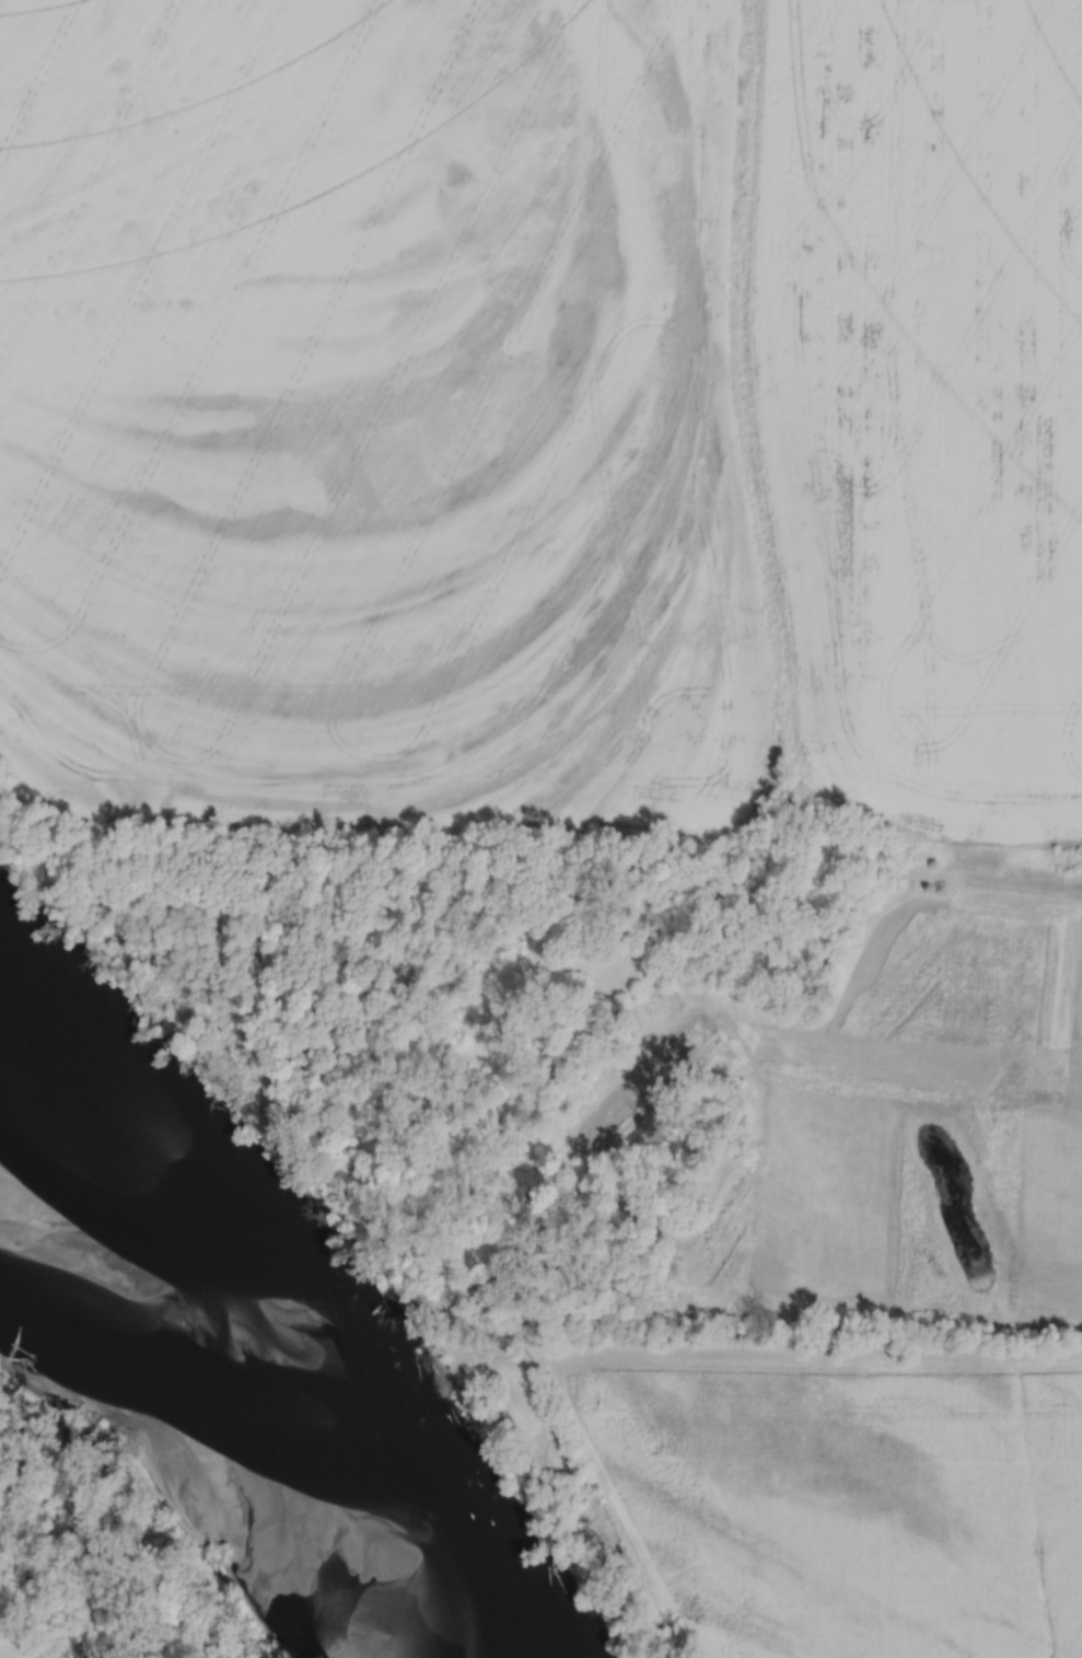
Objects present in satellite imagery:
river: (236, 1347)

